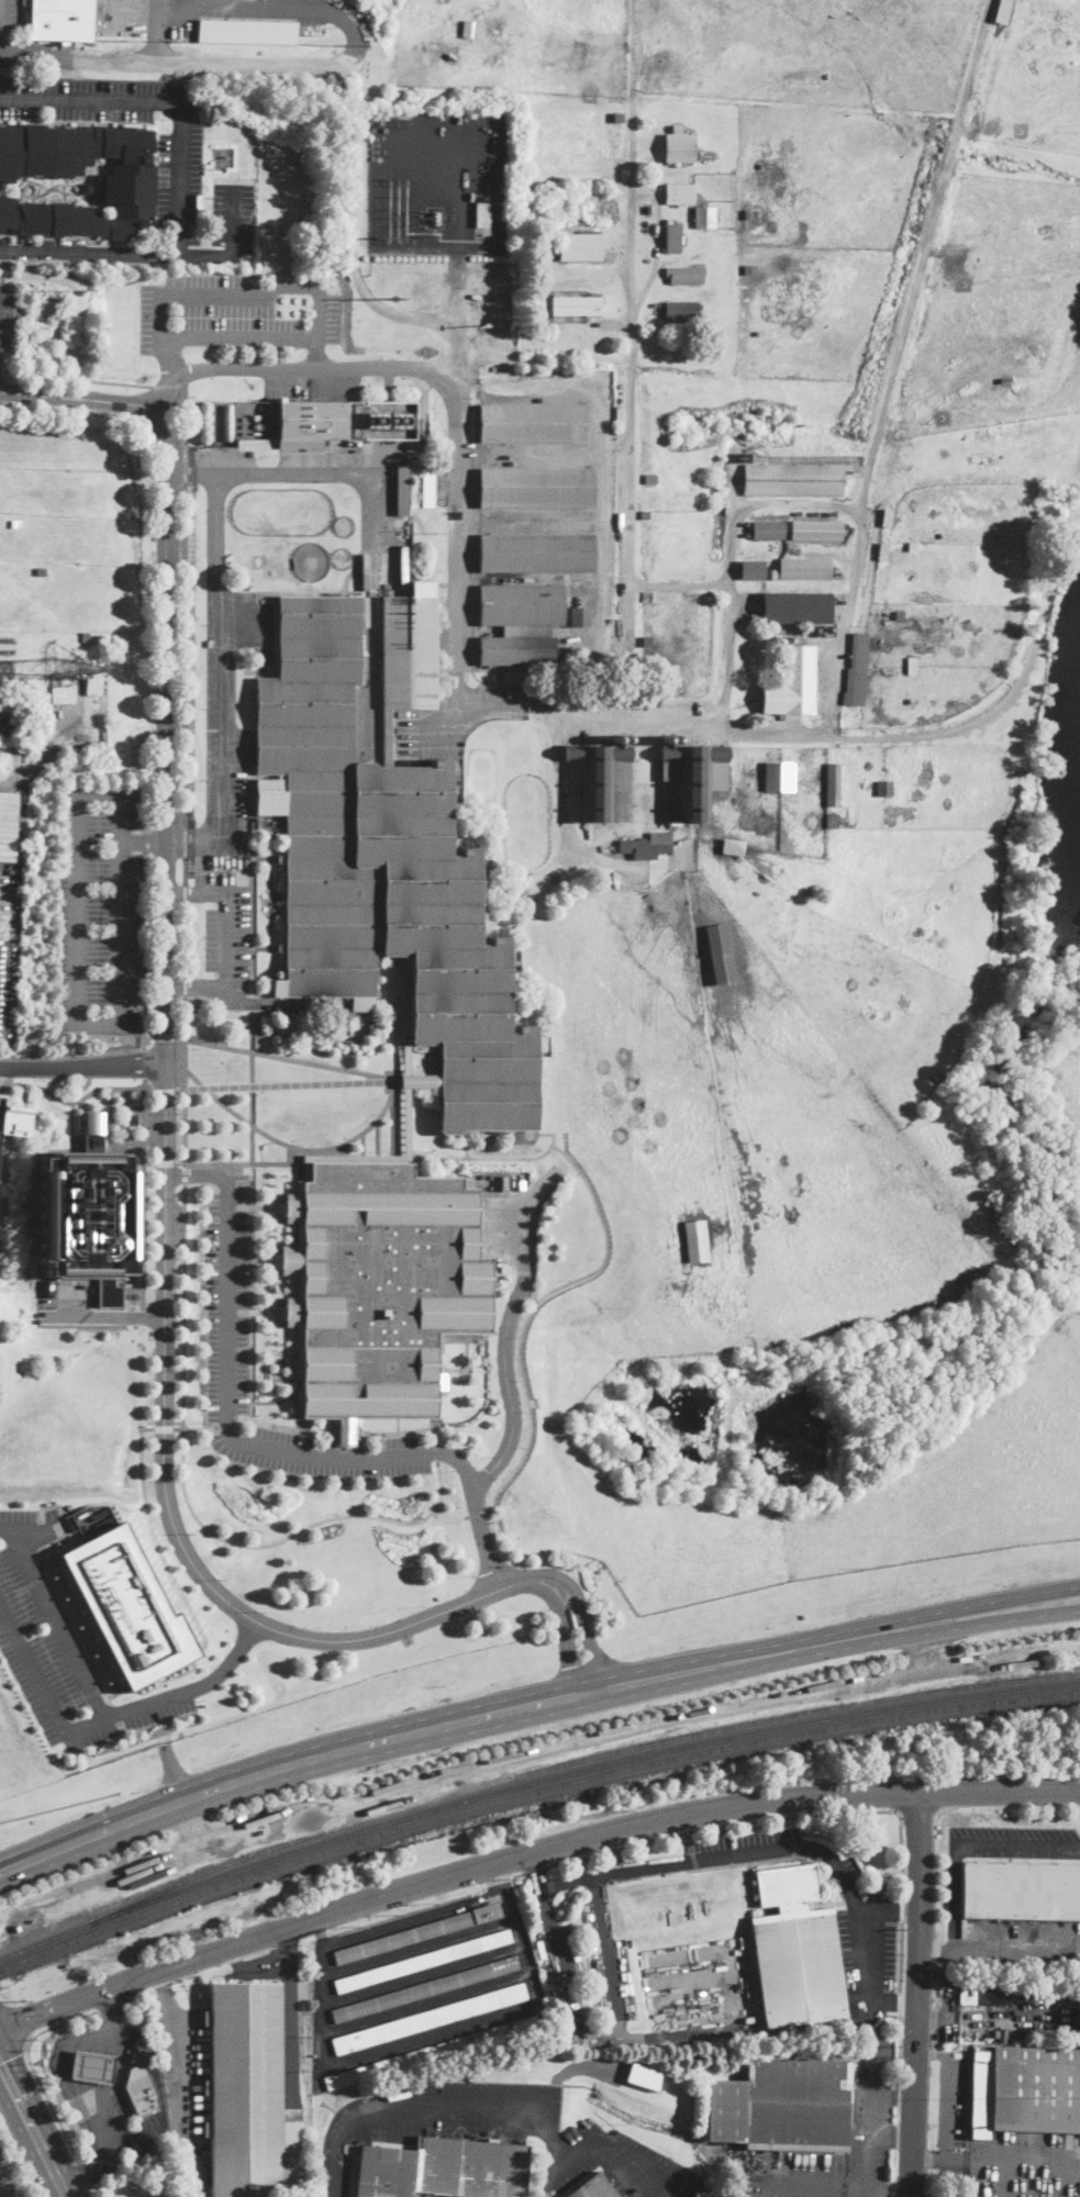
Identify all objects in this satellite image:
road: (164, 2)
road: (252, 7)
building: (1002, 11)
building: (60, 21)
road: (2, 31)
building: (246, 31)
building: (621, 70)
building: (643, 70)
road: (354, 75)
building: (619, 116)
building: (677, 129)
road: (182, 145)
building: (679, 148)
building: (706, 154)
building: (129, 181)
power substation: (435, 182)
building: (86, 189)
building: (679, 193)
building: (481, 213)
building: (749, 214)
building: (704, 218)
building: (671, 237)
power tower: (394, 239)
building: (580, 246)
road: (90, 250)
building: (646, 261)
building: (750, 270)
building: (933, 271)
building: (683, 275)
power tower: (80, 290)
road: (165, 292)
building: (569, 293)
power tower: (393, 299)
building: (577, 306)
building: (681, 311)
parking lot: (233, 314)
parking lot: (7, 317)
building: (569, 317)
building: (591, 325)
building: (1018, 350)
road: (315, 355)
road: (169, 356)
road: (630, 357)
road: (77, 368)
road: (169, 386)
road: (892, 395)
road: (460, 402)
road: (186, 414)
building: (389, 421)
building: (316, 423)
building: (532, 424)
building: (978, 459)
road: (298, 471)
building: (650, 479)
building: (794, 480)
building: (427, 487)
building: (401, 489)
building: (536, 489)
building: (645, 513)
building: (887, 517)
building: (15, 524)
building: (768, 531)
building: (816, 531)
building: (746, 535)
road: (476, 539)
building: (912, 546)
building: (883, 551)
building: (536, 554)
road: (731, 557)
building: (804, 567)
building: (753, 569)
building: (41, 571)
building: (773, 573)
road: (678, 584)
building: (797, 607)
building: (899, 615)
building: (579, 616)
building: (520, 624)
building: (828, 628)
building: (815, 629)
road: (186, 635)
building: (86, 637)
building: (646, 640)
building: (787, 640)
road: (216, 656)
building: (575, 657)
building: (912, 666)
building: (5, 669)
building: (856, 670)
building: (93, 680)
building: (791, 683)
parking lot: (225, 684)
building: (62, 693)
building: (4, 726)
building: (615, 738)
road: (825, 738)
building: (625, 739)
building: (666, 739)
building: (676, 739)
building: (779, 776)
building: (598, 777)
building: (691, 778)
building: (832, 783)
building: (884, 788)
crop: (817, 791)
road: (647, 803)
building: (8, 816)
road: (563, 818)
building: (270, 821)
building: (830, 821)
building: (1026, 826)
road: (144, 839)
building: (647, 846)
building: (728, 848)
road: (186, 855)
building: (385, 857)
road: (264, 859)
building: (890, 874)
road: (252, 881)
road: (181, 893)
road: (270, 903)
parking lot: (99, 908)
road: (227, 926)
road: (186, 929)
parking lot: (225, 938)
road: (265, 947)
road: (145, 949)
building: (721, 953)
building: (683, 962)
road: (196, 989)
road: (77, 1025)
road: (158, 1037)
road: (407, 1053)
road: (287, 1059)
road: (81, 1066)
road: (185, 1069)
road: (416, 1081)
road: (282, 1084)
road: (2, 1089)
building: (0, 1098)
parking garage: (0, 1098)
road: (78, 1101)
road: (127, 1102)
road: (165, 1109)
building: (136, 1118)
building: (10, 1124)
parking garage: (10, 1124)
road: (73, 1125)
road: (125, 1131)
road: (552, 1135)
road: (118, 1144)
road: (294, 1147)
road: (408, 1156)
road: (244, 1163)
road: (199, 1175)
road: (143, 1179)
road: (264, 1206)
building: (87, 1208)
building: (695, 1241)
road: (261, 1259)
road: (593, 1271)
building: (377, 1284)
road: (252, 1300)
parking lot: (227, 1308)
road: (264, 1312)
road: (113, 1316)
road: (281, 1401)
road: (227, 1412)
road: (505, 1438)
road: (455, 1459)
road: (192, 1509)
road: (476, 1514)
road: (450, 1516)
building: (129, 1606)
road: (954, 1610)
road: (58, 1617)
road: (955, 1631)
road: (587, 1635)
road: (561, 1641)
road: (701, 1670)
road: (196, 1685)
road: (43, 1688)
railway: (576, 1759)
road: (280, 1770)
railway: (530, 1782)
road: (999, 1789)
railway: (530, 1792)
road: (808, 1815)
road: (966, 1850)
road: (534, 1869)
road: (595, 1872)
road: (450, 1875)
building: (1023, 1891)
road: (891, 1912)
building: (419, 1933)
road: (1015, 1945)
road: (870, 1949)
building: (795, 1950)
road: (935, 1952)
building: (422, 1962)
road: (247, 1965)
road: (951, 1984)
building: (423, 1989)
building: (983, 1992)
road: (917, 1994)
road: (5, 1998)
road: (895, 2005)
road: (290, 2015)
road: (933, 2016)
road: (983, 2016)
traffic signals: (27, 2017)
building: (430, 2019)
road: (20, 2020)
building: (545, 2020)
road: (603, 2034)
road: (432, 2036)
building: (144, 2047)
road: (178, 2053)
building: (431, 2053)
road: (32, 2065)
building: (92, 2065)
building: (644, 2076)
building: (140, 2087)
building: (1025, 2090)
building: (247, 2095)
road: (894, 2095)
road: (452, 2098)
building: (783, 2107)
road: (34, 2131)
road: (894, 2138)
road: (616, 2151)
road: (948, 2153)
road: (931, 2157)
road: (85, 2170)
building: (443, 2170)
building: (594, 2188)
road: (94, 2190)
road: (816, 2192)
road: (892, 2195)

